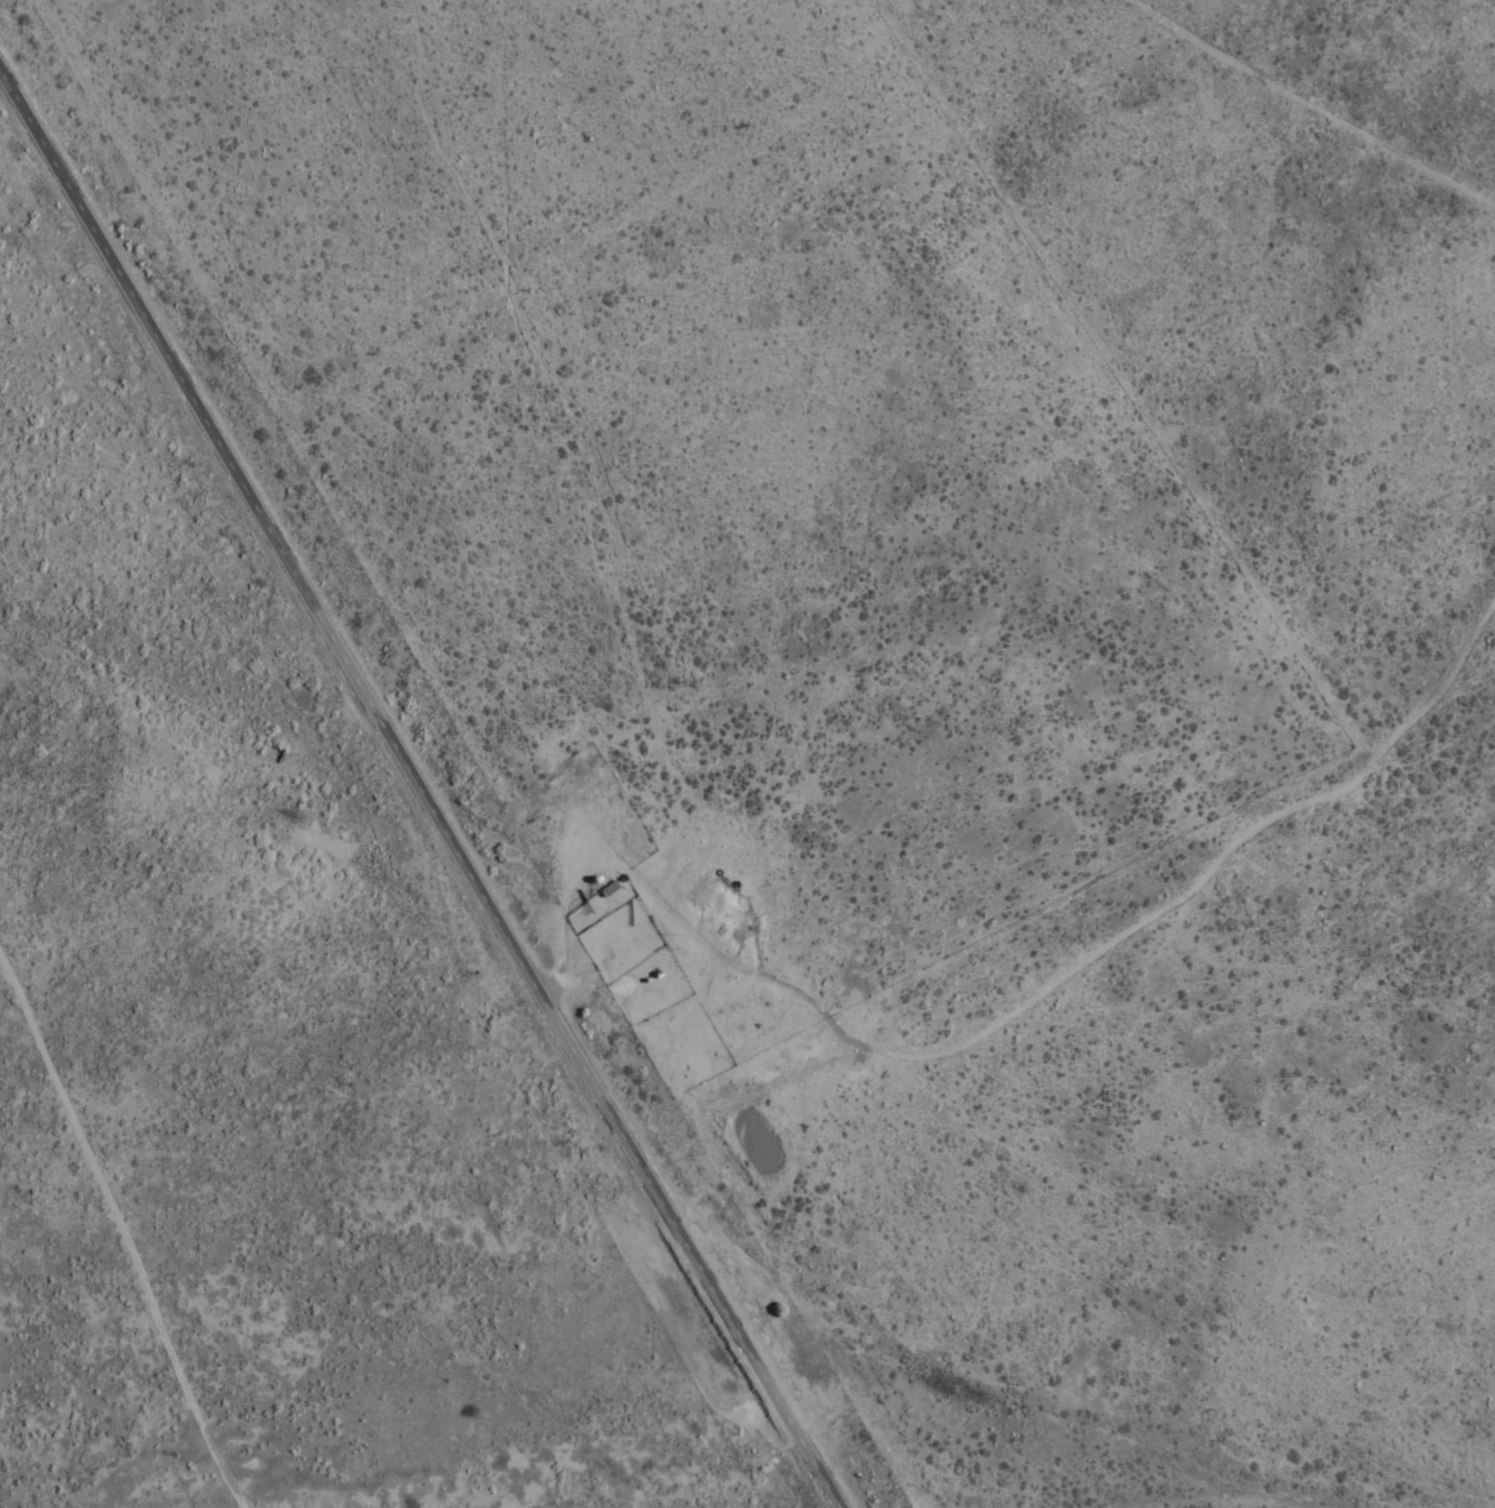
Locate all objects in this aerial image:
road: (419, 789)

